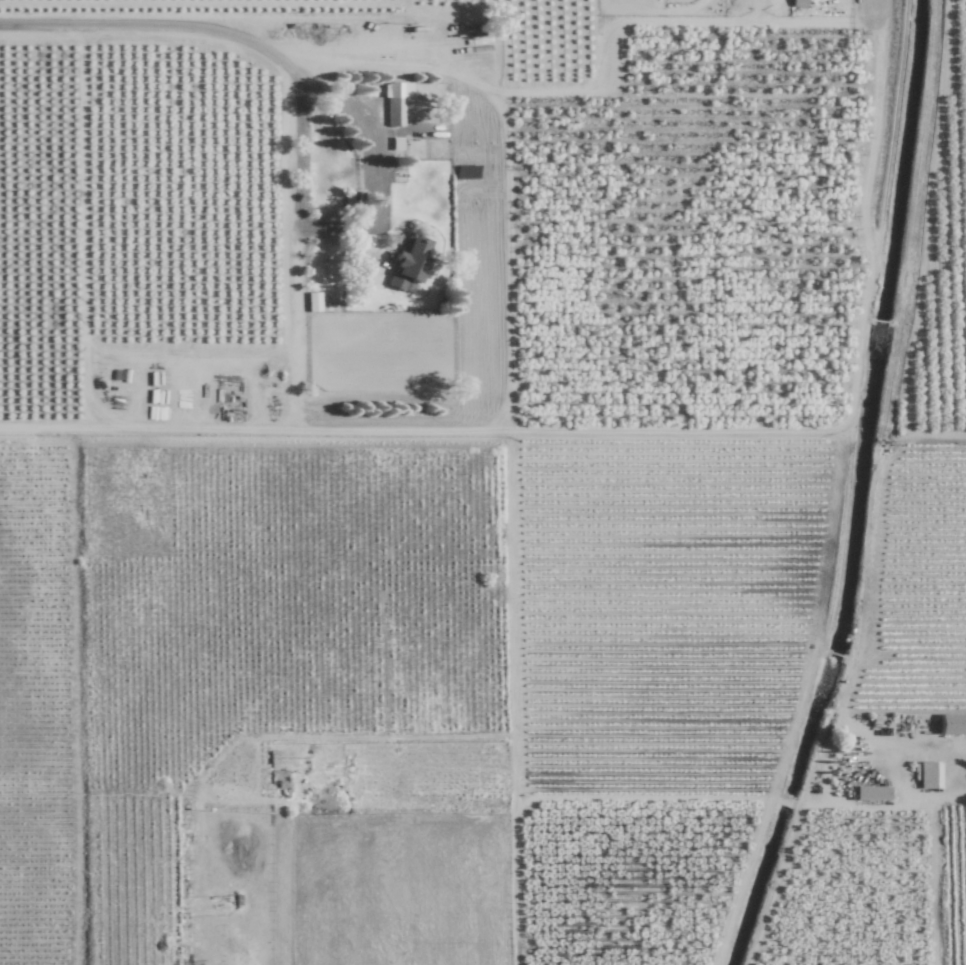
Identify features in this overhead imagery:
building: (798, 2)
road: (155, 23)
building: (396, 101)
road: (352, 221)
building: (409, 263)
building: (952, 724)
building: (928, 774)
road: (961, 791)
building: (873, 793)

